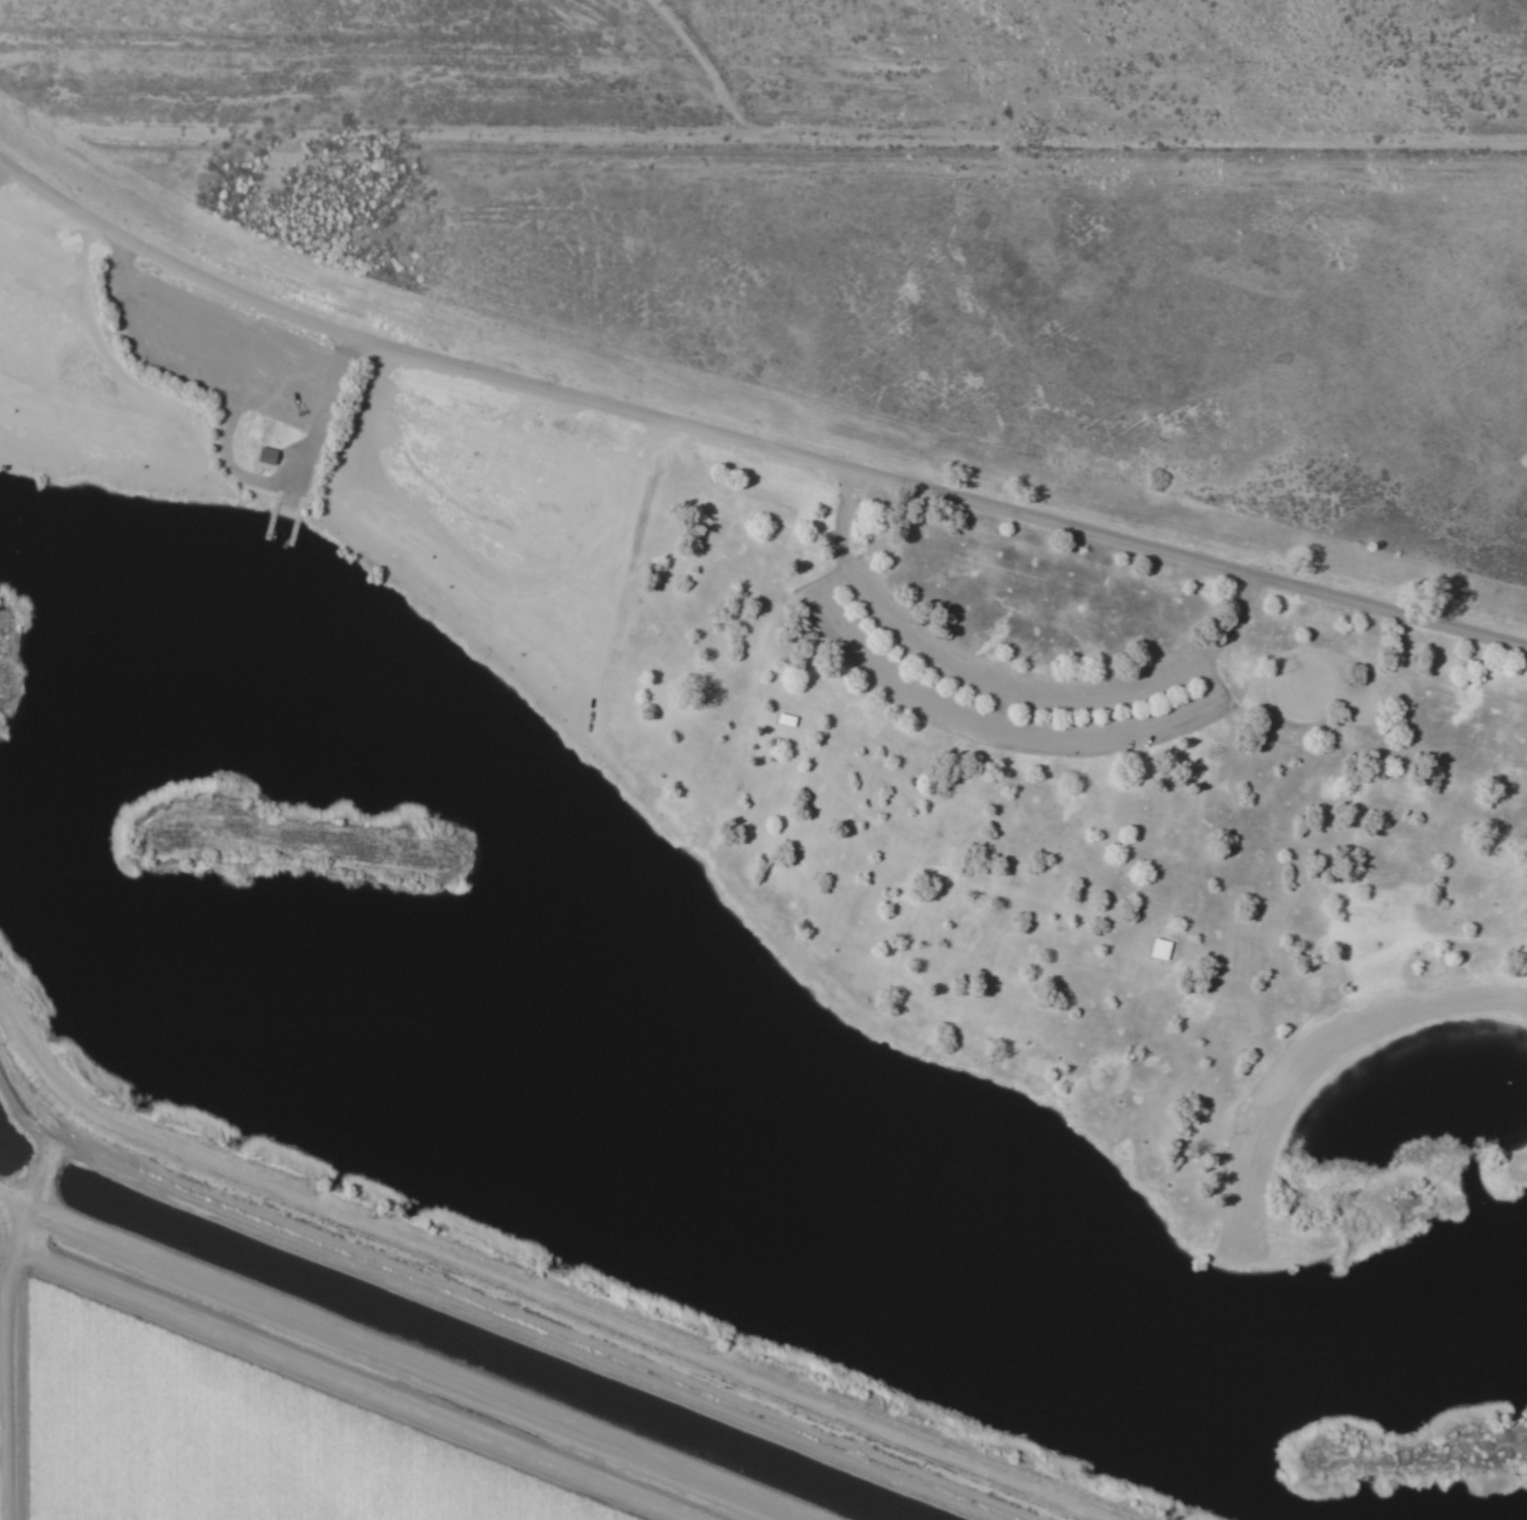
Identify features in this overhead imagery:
road: (748, 442)
building: (267, 455)
road: (1005, 680)
road: (999, 705)
building: (783, 720)
road: (999, 731)
building: (1158, 949)
building: (1097, 1354)
crop: (295, 1402)

